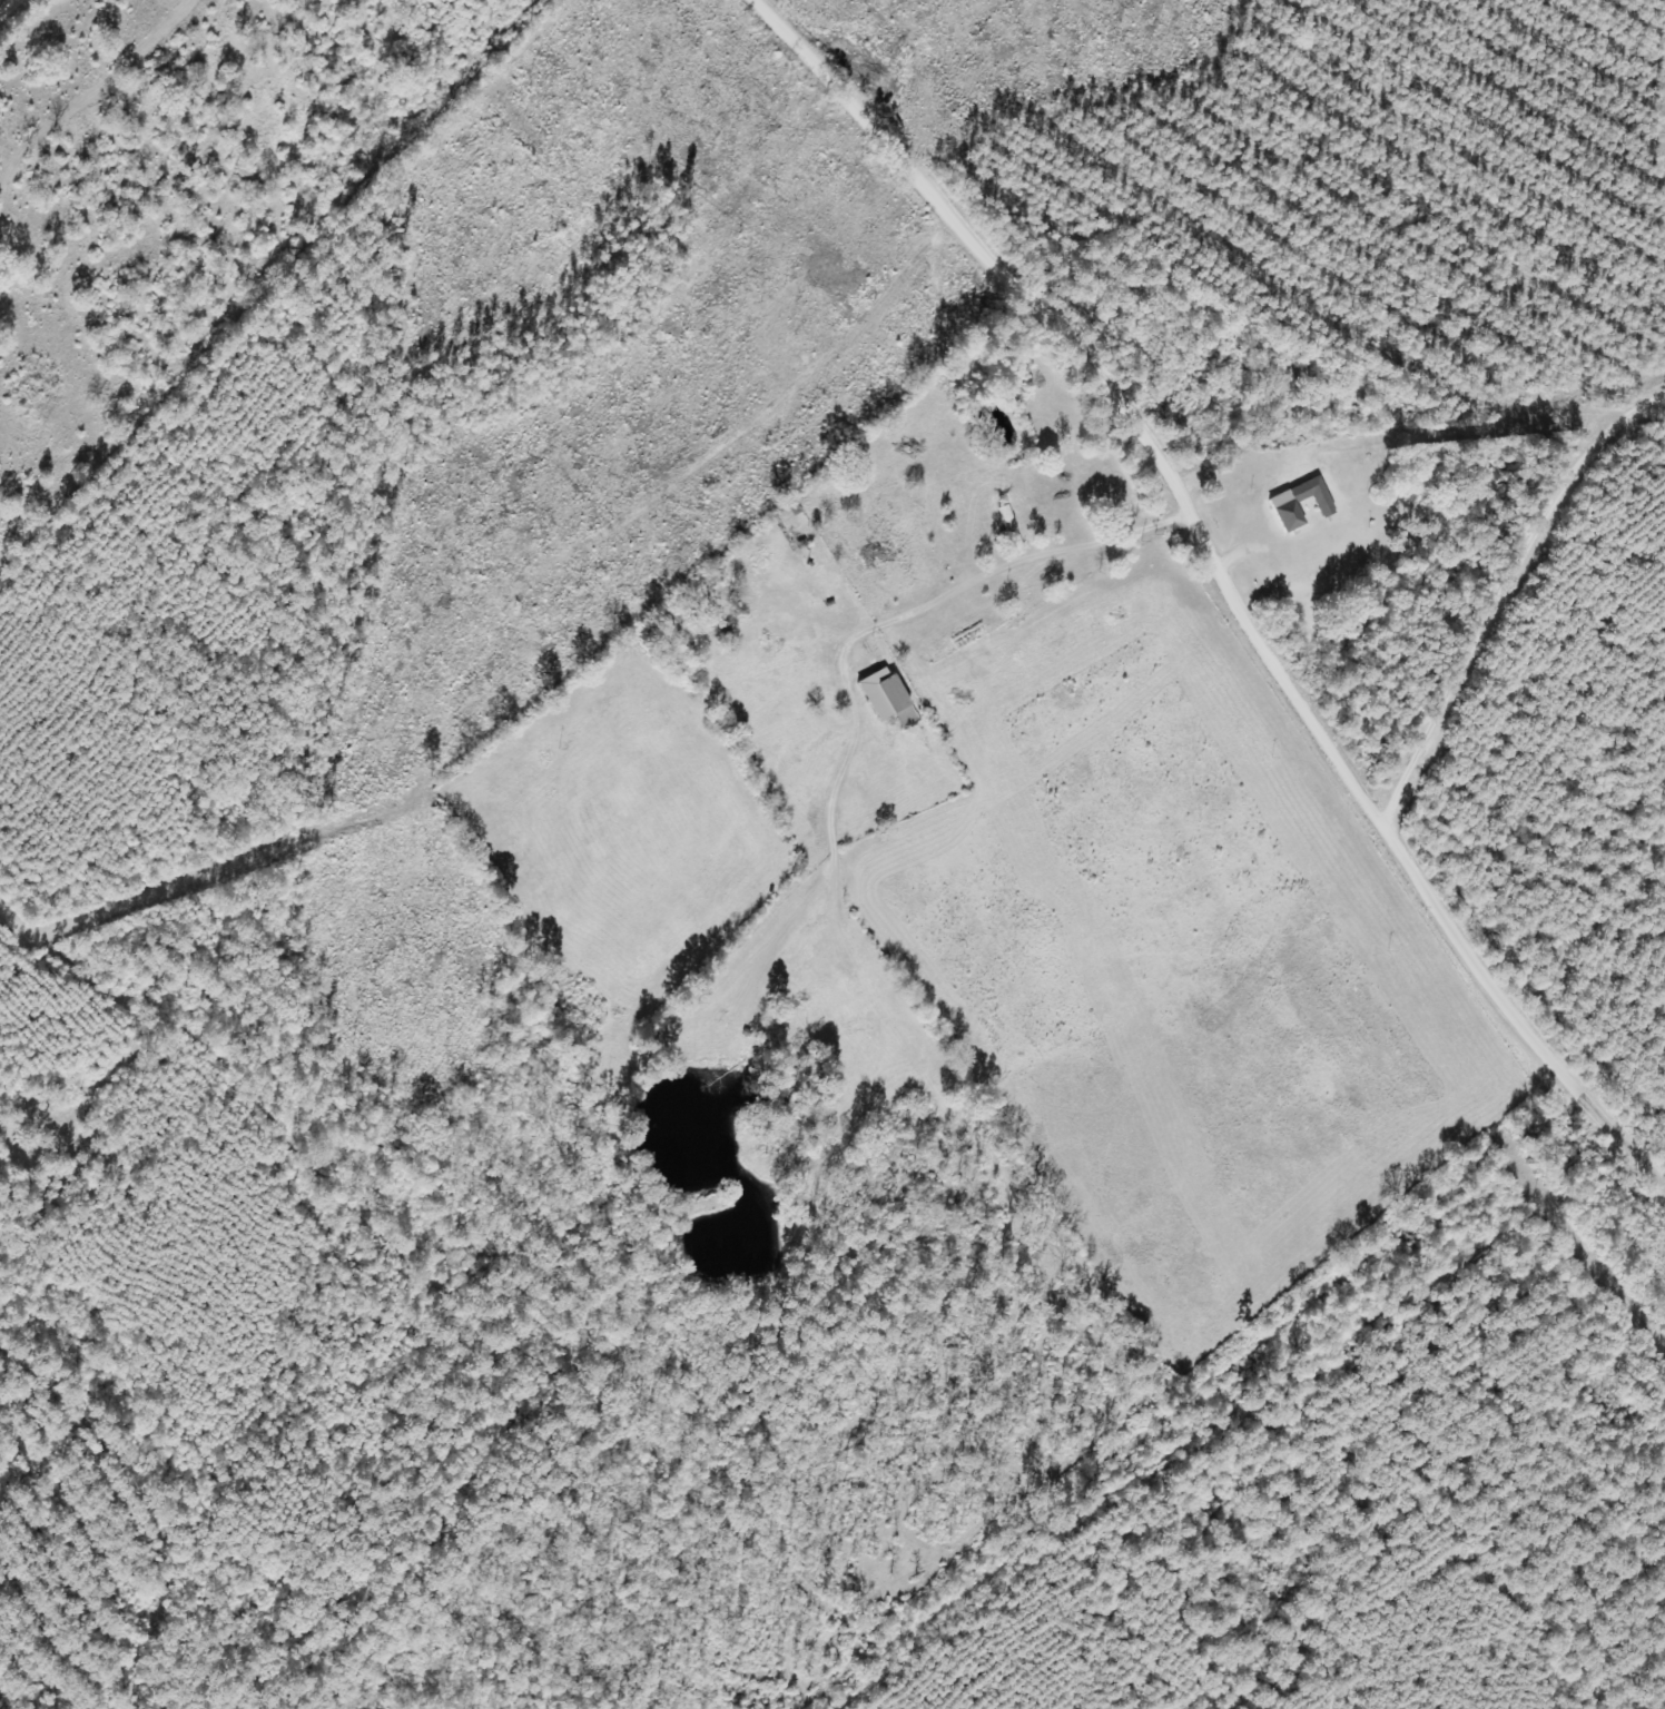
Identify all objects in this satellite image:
road: (8, 7)
road: (986, 247)
road: (1297, 457)
building: (1284, 507)
building: (885, 698)
road: (1378, 806)
road: (1567, 878)
road: (1634, 1146)

